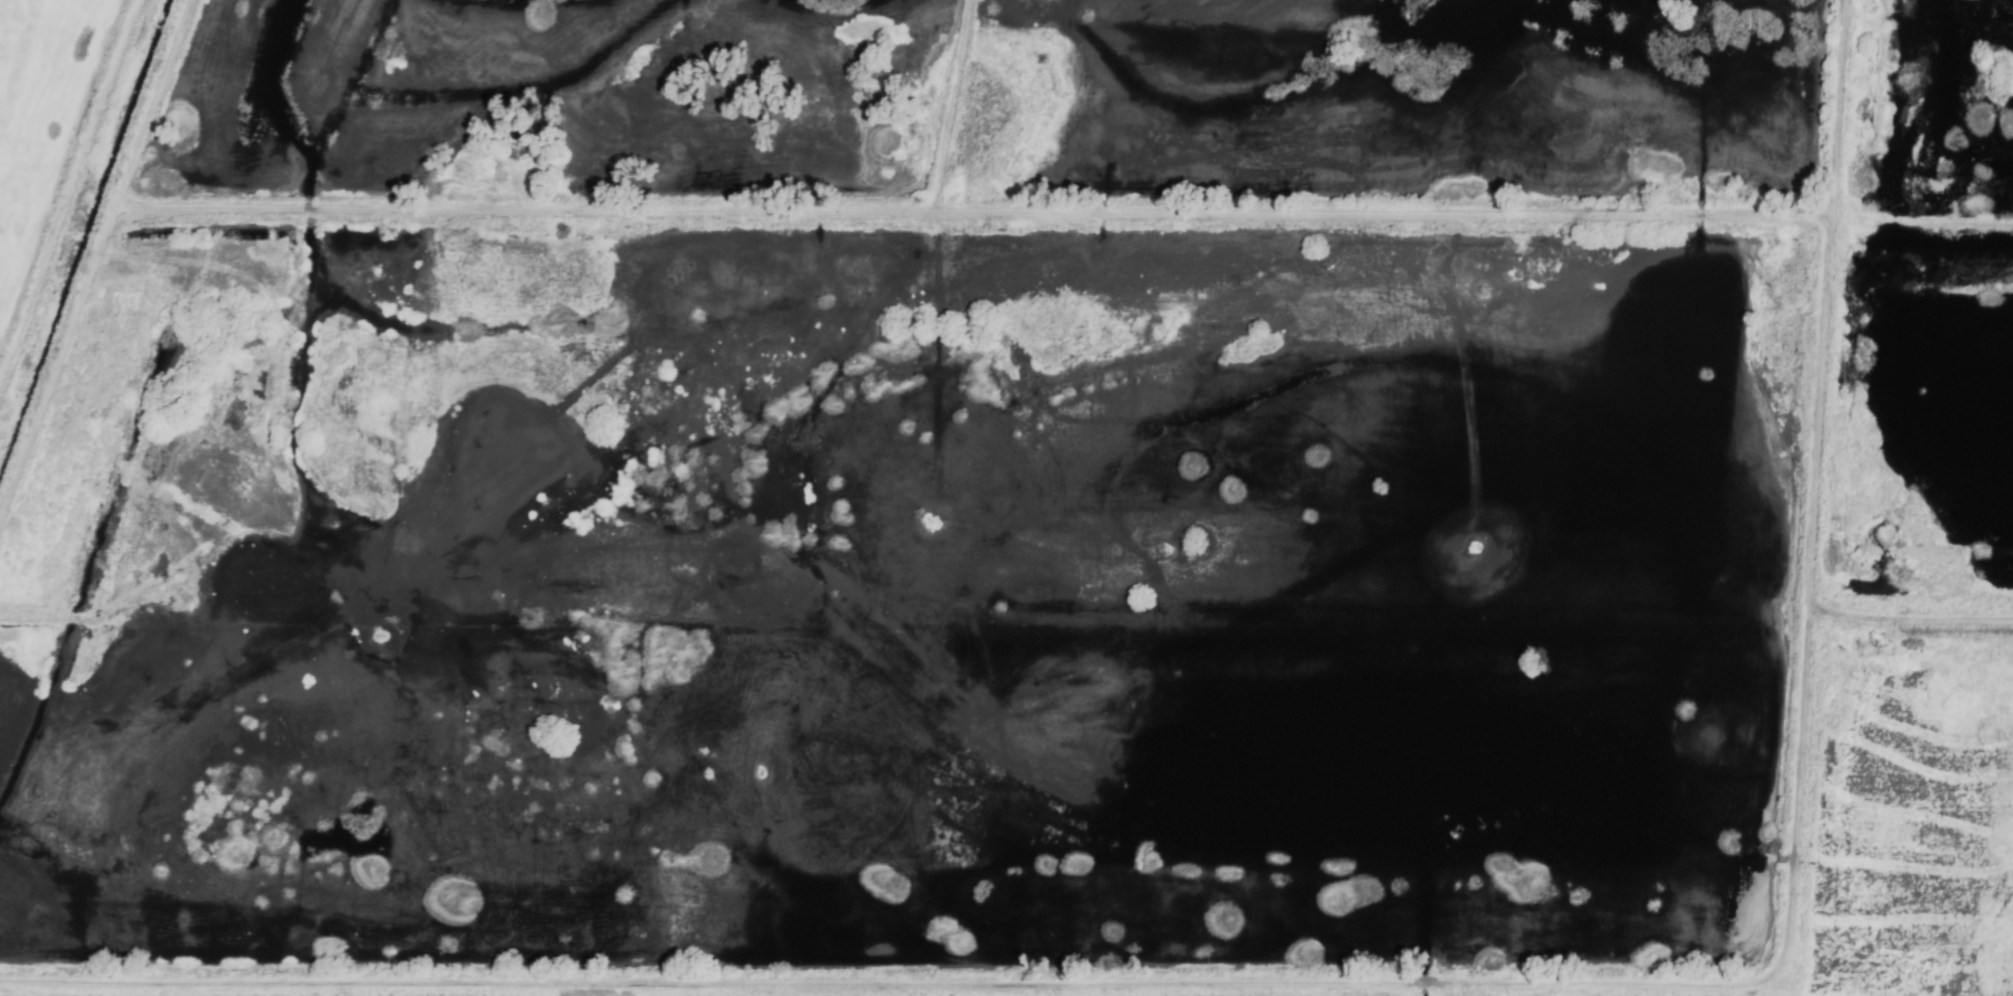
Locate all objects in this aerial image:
crop: (1908, 794)

